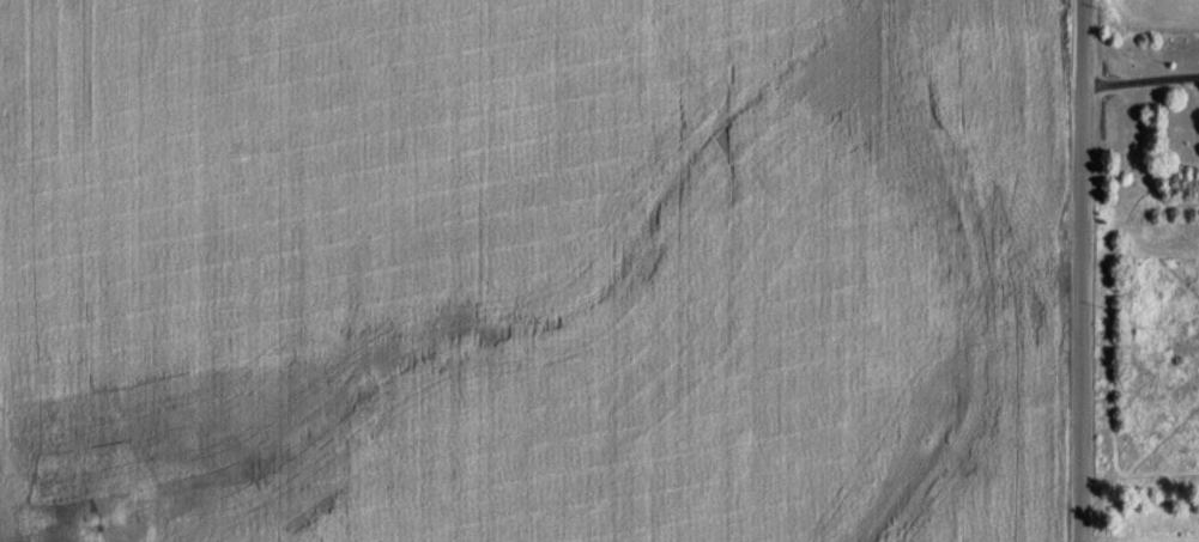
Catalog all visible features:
crop: (1161, 13)
road: (1140, 85)
road: (1082, 270)

